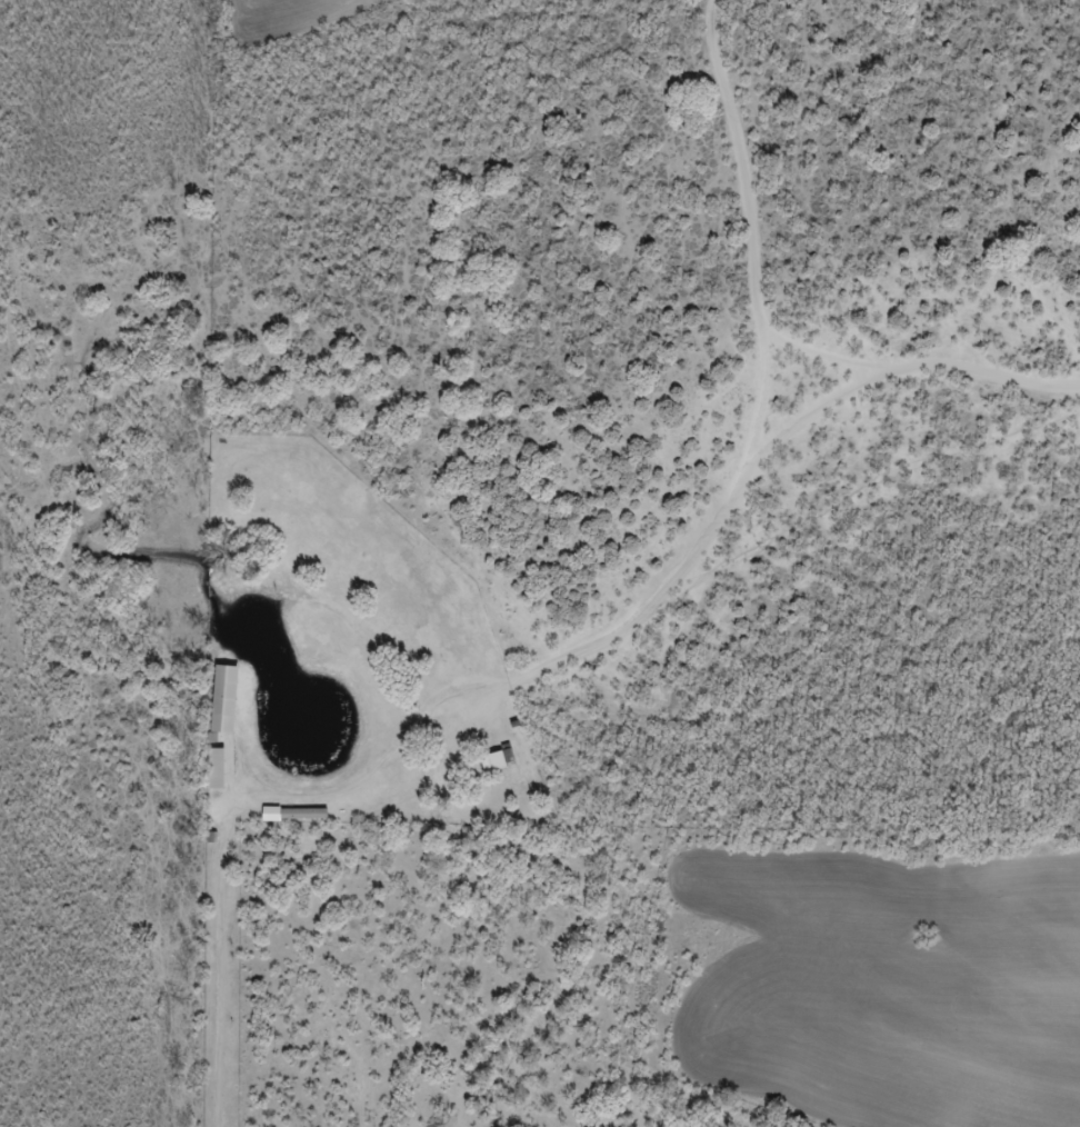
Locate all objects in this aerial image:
building: (223, 699)
building: (216, 769)

